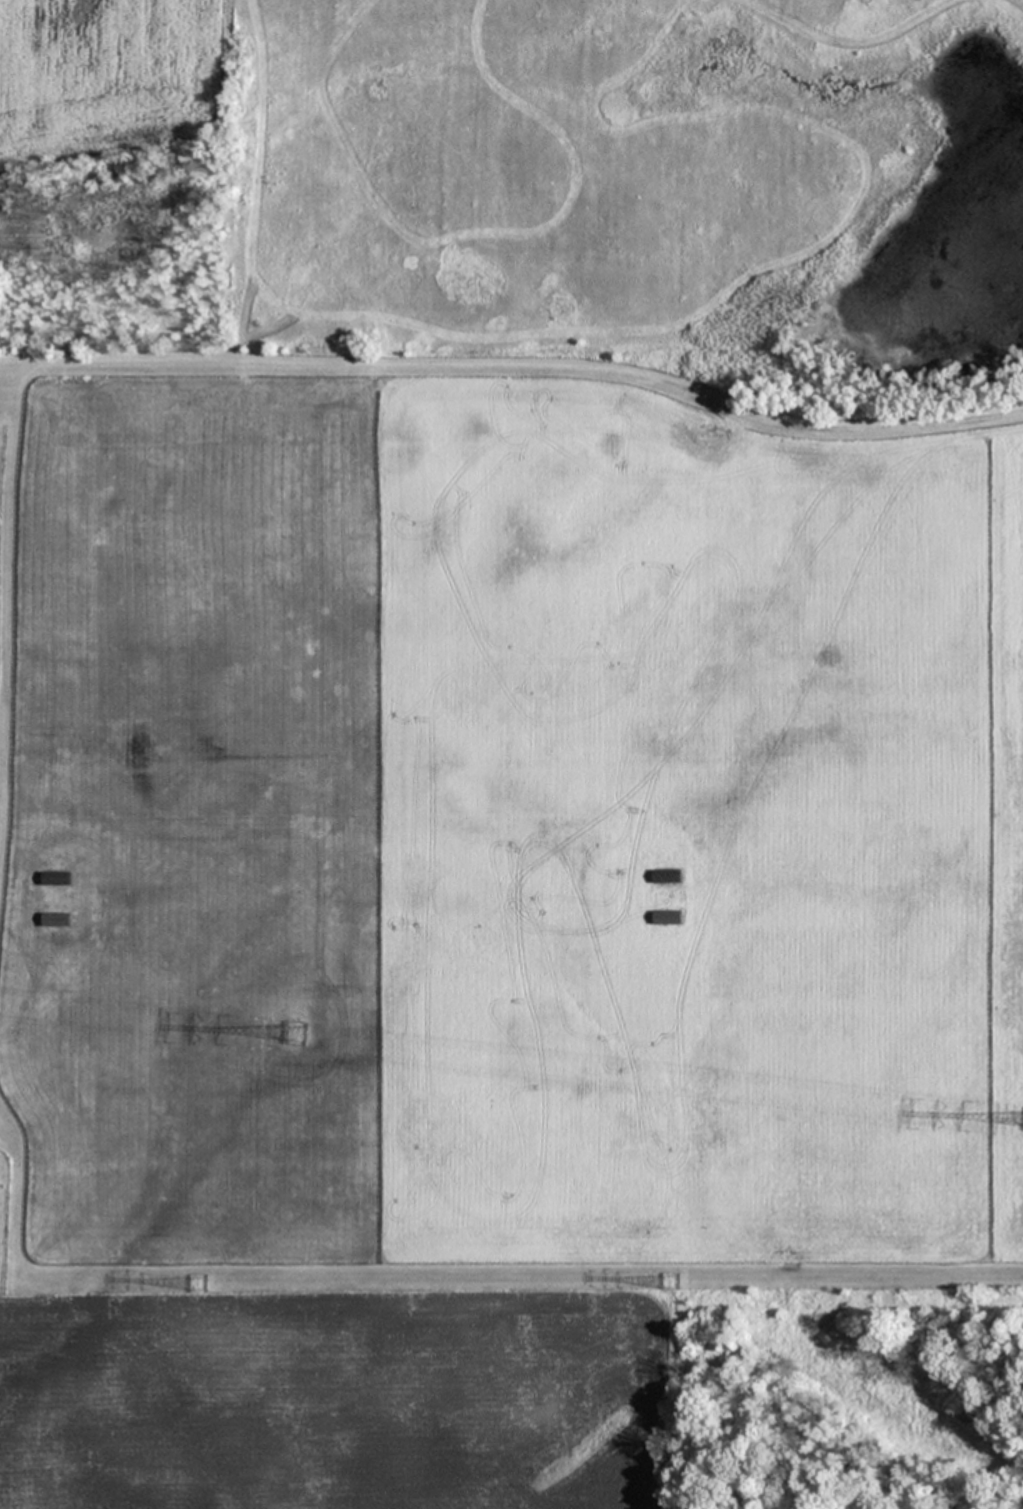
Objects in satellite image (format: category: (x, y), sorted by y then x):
crop: (510, 645)
building: (668, 875)
building: (57, 878)
building: (670, 917)
building: (57, 919)
power tower: (294, 1034)
power tower: (669, 1282)
power tower: (197, 1283)

